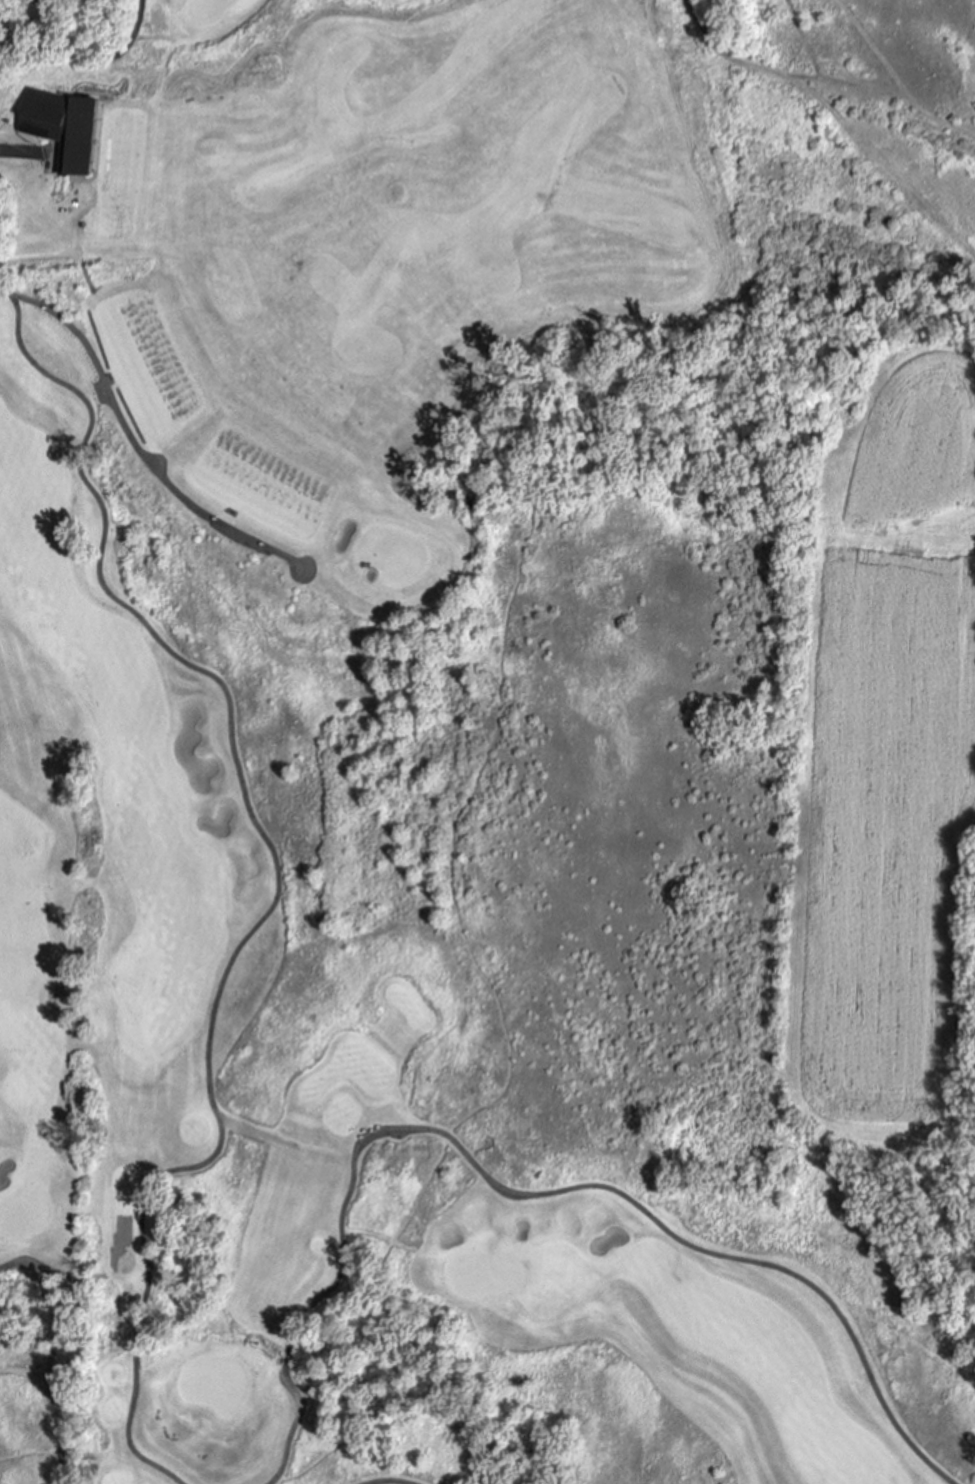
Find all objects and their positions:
road: (9, 7)
road: (134, 19)
building: (60, 127)
road: (11, 152)
road: (66, 249)
road: (132, 443)
park: (388, 553)
park: (487, 742)
road: (460, 793)
road: (243, 796)
road: (589, 1185)
road: (135, 1337)
road: (54, 1341)
road: (284, 1359)
road: (291, 1426)
road: (129, 1428)
road: (93, 1432)
road: (388, 1479)

